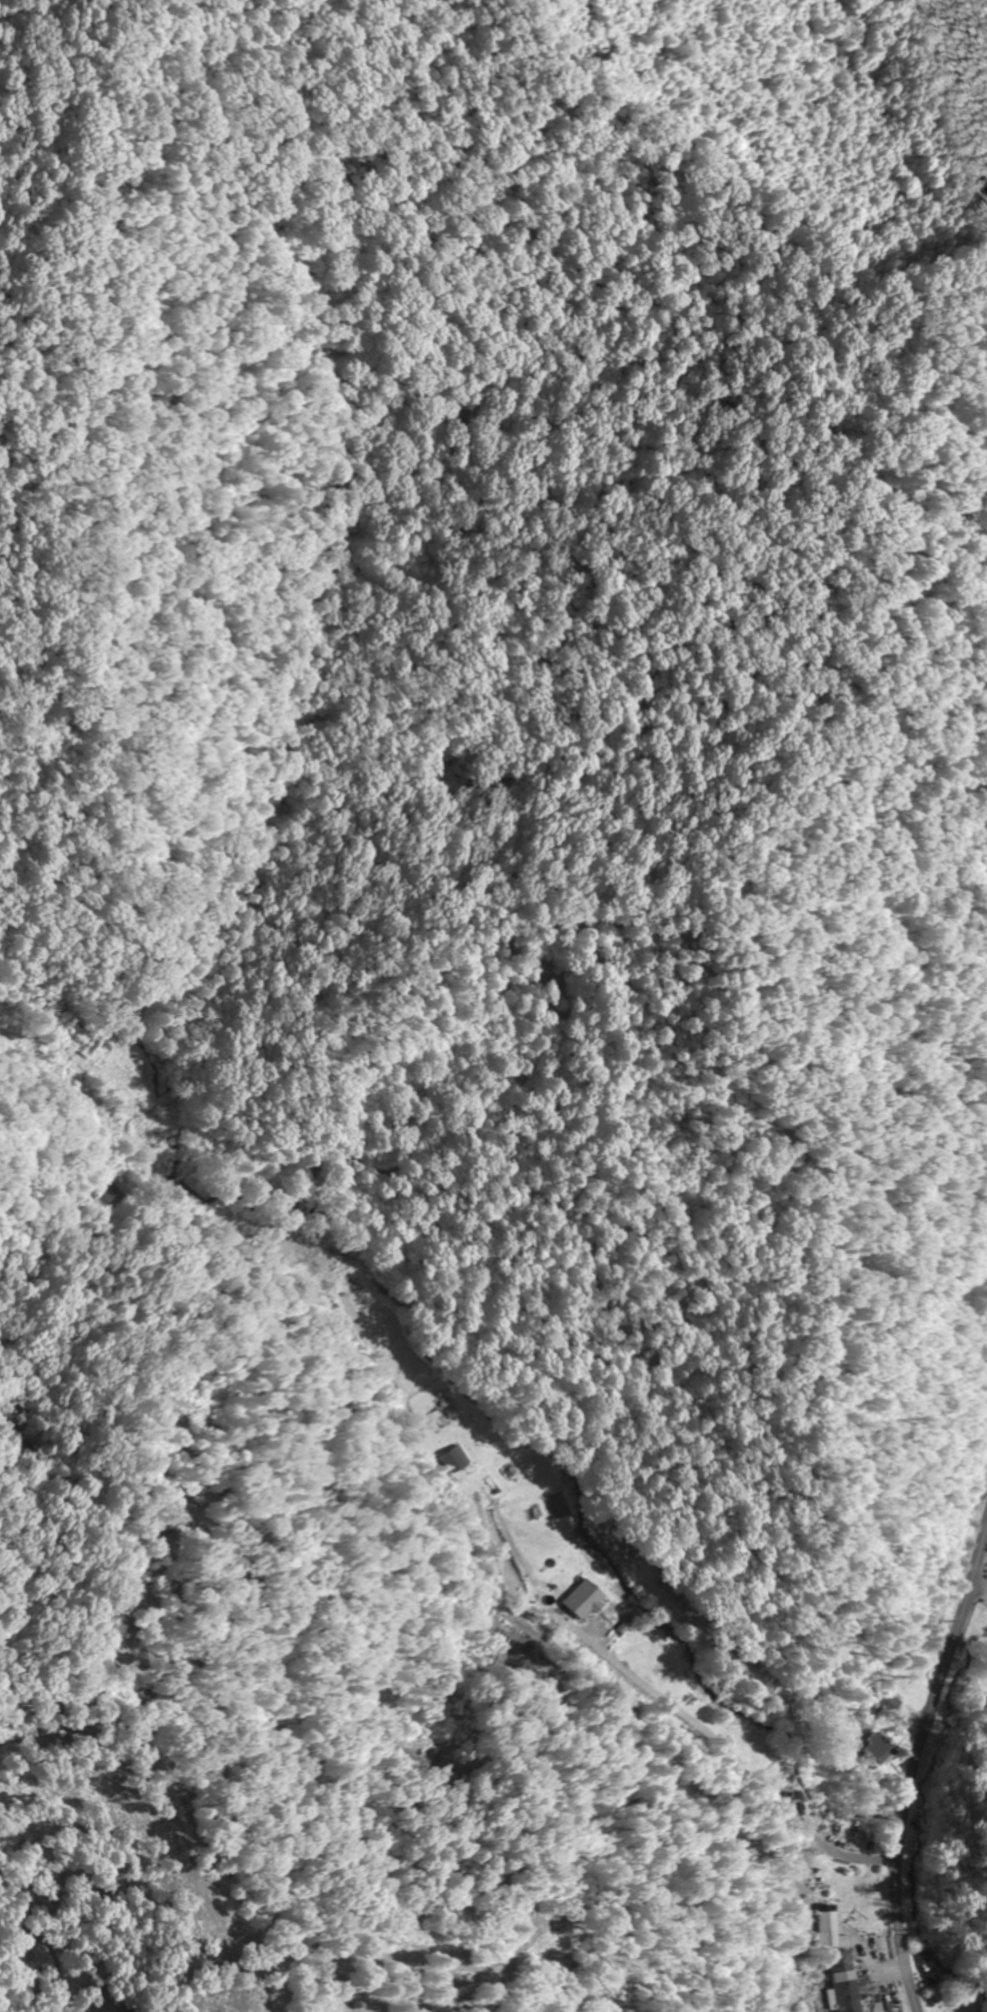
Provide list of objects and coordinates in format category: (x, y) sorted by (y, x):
building: (458, 1460)
road: (444, 1467)
building: (586, 1597)
building: (985, 1684)
building: (879, 1748)
road: (915, 1760)
building: (831, 1924)
building: (229, 1972)
building: (847, 1982)

